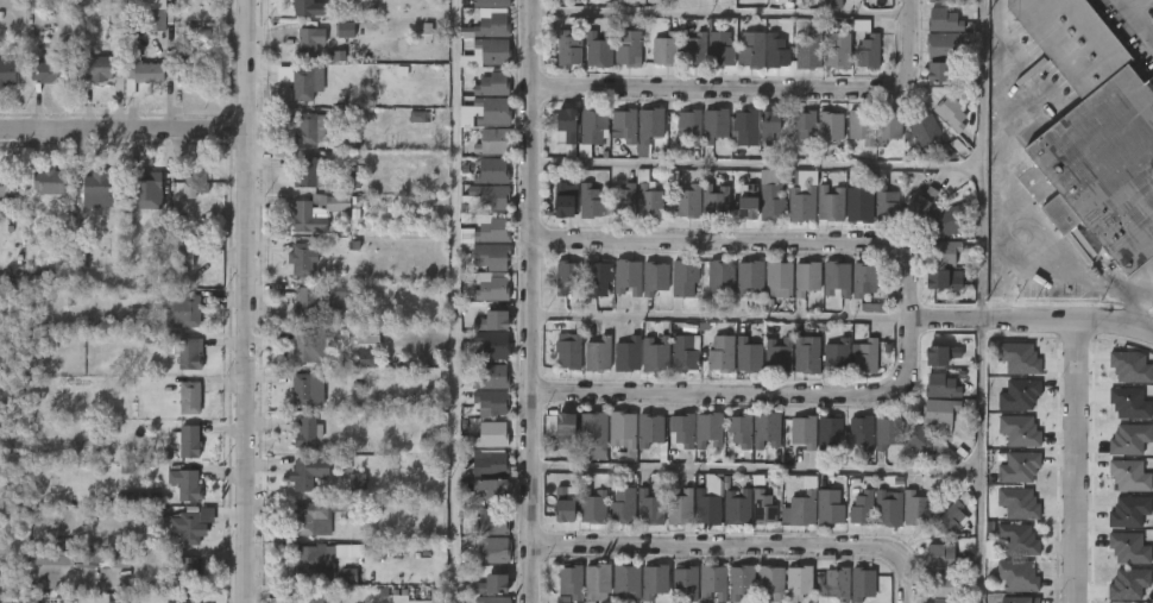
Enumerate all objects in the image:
building: (107, 1)
building: (946, 1)
building: (493, 4)
building: (831, 4)
building: (307, 8)
road: (720, 11)
building: (152, 20)
road: (1135, 20)
building: (943, 21)
building: (494, 27)
building: (345, 30)
building: (1070, 39)
building: (308, 43)
building: (939, 44)
building: (699, 45)
building: (631, 46)
building: (724, 48)
building: (572, 49)
building: (601, 49)
building: (669, 49)
building: (755, 49)
building: (780, 50)
building: (840, 50)
building: (871, 50)
building: (496, 51)
building: (812, 51)
building: (335, 56)
building: (195, 62)
building: (99, 68)
building: (141, 71)
building: (7, 73)
building: (52, 73)
building: (938, 73)
building: (301, 81)
building: (492, 84)
road: (760, 87)
building: (489, 112)
building: (949, 113)
building: (420, 117)
building: (623, 125)
building: (713, 125)
building: (566, 126)
building: (650, 126)
building: (688, 126)
building: (745, 126)
building: (768, 126)
building: (862, 126)
building: (887, 126)
building: (591, 127)
building: (804, 127)
building: (828, 127)
building: (309, 128)
building: (928, 133)
road: (121, 137)
building: (346, 140)
building: (492, 142)
road: (755, 164)
building: (1102, 165)
building: (490, 170)
building: (307, 171)
building: (50, 180)
building: (146, 182)
building: (7, 183)
building: (196, 183)
building: (100, 189)
building: (491, 195)
building: (770, 196)
building: (801, 196)
building: (561, 200)
building: (713, 200)
building: (588, 201)
building: (687, 202)
road: (1009, 202)
building: (623, 203)
building: (648, 203)
building: (830, 203)
building: (859, 203)
building: (920, 203)
building: (746, 205)
building: (886, 206)
building: (316, 211)
building: (950, 220)
building: (492, 231)
building: (1152, 251)
building: (944, 253)
building: (491, 257)
building: (302, 258)
building: (183, 259)
building: (37, 276)
building: (566, 276)
building: (626, 276)
building: (685, 277)
building: (719, 277)
building: (597, 278)
building: (656, 278)
building: (749, 278)
building: (777, 279)
building: (836, 279)
building: (862, 279)
building: (944, 279)
building: (805, 282)
building: (491, 290)
road: (241, 301)
road: (455, 301)
road: (531, 301)
road: (978, 301)
building: (315, 304)
road: (1130, 307)
building: (872, 308)
building: (184, 309)
road: (907, 314)
road: (719, 316)
road: (1031, 321)
building: (493, 322)
building: (367, 335)
building: (492, 345)
building: (314, 346)
building: (572, 350)
building: (686, 352)
building: (601, 353)
building: (631, 353)
building: (660, 353)
building: (720, 354)
building: (187, 356)
building: (746, 356)
building: (777, 356)
building: (837, 356)
building: (941, 356)
building: (805, 357)
building: (867, 357)
building: (1017, 358)
building: (1130, 368)
building: (492, 377)
building: (943, 387)
building: (304, 389)
building: (1019, 396)
building: (188, 397)
building: (491, 402)
building: (1129, 403)
building: (939, 415)
building: (562, 429)
building: (620, 429)
building: (648, 431)
building: (680, 431)
building: (708, 431)
building: (767, 431)
building: (1019, 431)
building: (739, 432)
building: (862, 432)
building: (804, 433)
building: (886, 433)
building: (305, 434)
building: (490, 434)
building: (830, 434)
building: (592, 436)
building: (1129, 440)
building: (188, 442)
building: (924, 442)
road: (1076, 463)
building: (493, 464)
building: (1019, 467)
road: (754, 470)
building: (308, 473)
building: (1129, 476)
building: (184, 483)
building: (357, 483)
building: (490, 489)
building: (136, 496)
building: (1017, 502)
building: (623, 505)
building: (594, 507)
building: (649, 507)
building: (679, 507)
building: (737, 507)
building: (762, 507)
building: (562, 508)
building: (706, 508)
building: (802, 508)
building: (828, 508)
building: (862, 508)
building: (887, 508)
building: (915, 509)
building: (1128, 511)
building: (321, 516)
building: (950, 521)
building: (491, 522)
building: (188, 528)
building: (1017, 538)
building: (62, 545)
road: (739, 548)
building: (1128, 548)
building: (491, 549)
building: (941, 555)
building: (99, 557)
building: (319, 567)
building: (189, 572)
building: (1017, 576)
building: (596, 579)
building: (654, 579)
building: (625, 580)
building: (685, 580)
building: (739, 580)
building: (571, 582)
building: (712, 582)
building: (770, 582)
building: (798, 582)
building: (862, 583)
building: (493, 584)
building: (836, 584)
building: (940, 584)
building: (1128, 584)
building: (302, 597)
building: (1020, 598)
building: (179, 599)
building: (492, 599)
building: (941, 601)
building: (115, 602)

